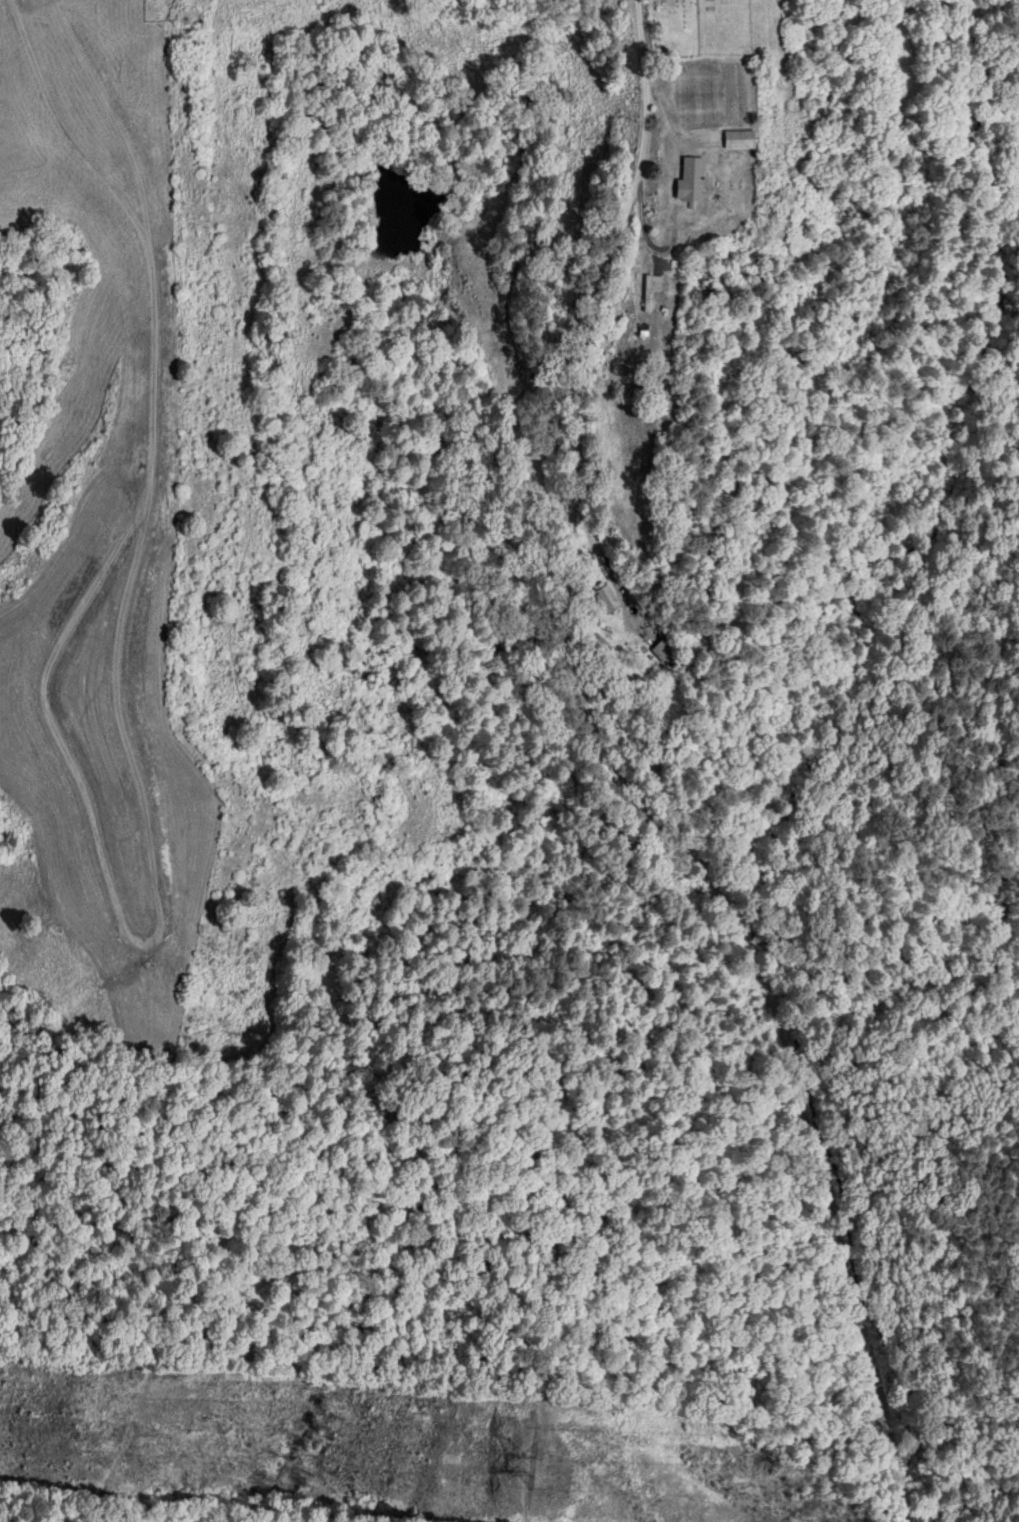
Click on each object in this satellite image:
building: (739, 138)
building: (690, 178)
building: (650, 289)
building: (606, 597)
building: (662, 649)
road: (623, 780)
road: (305, 835)
power tower: (525, 1469)

